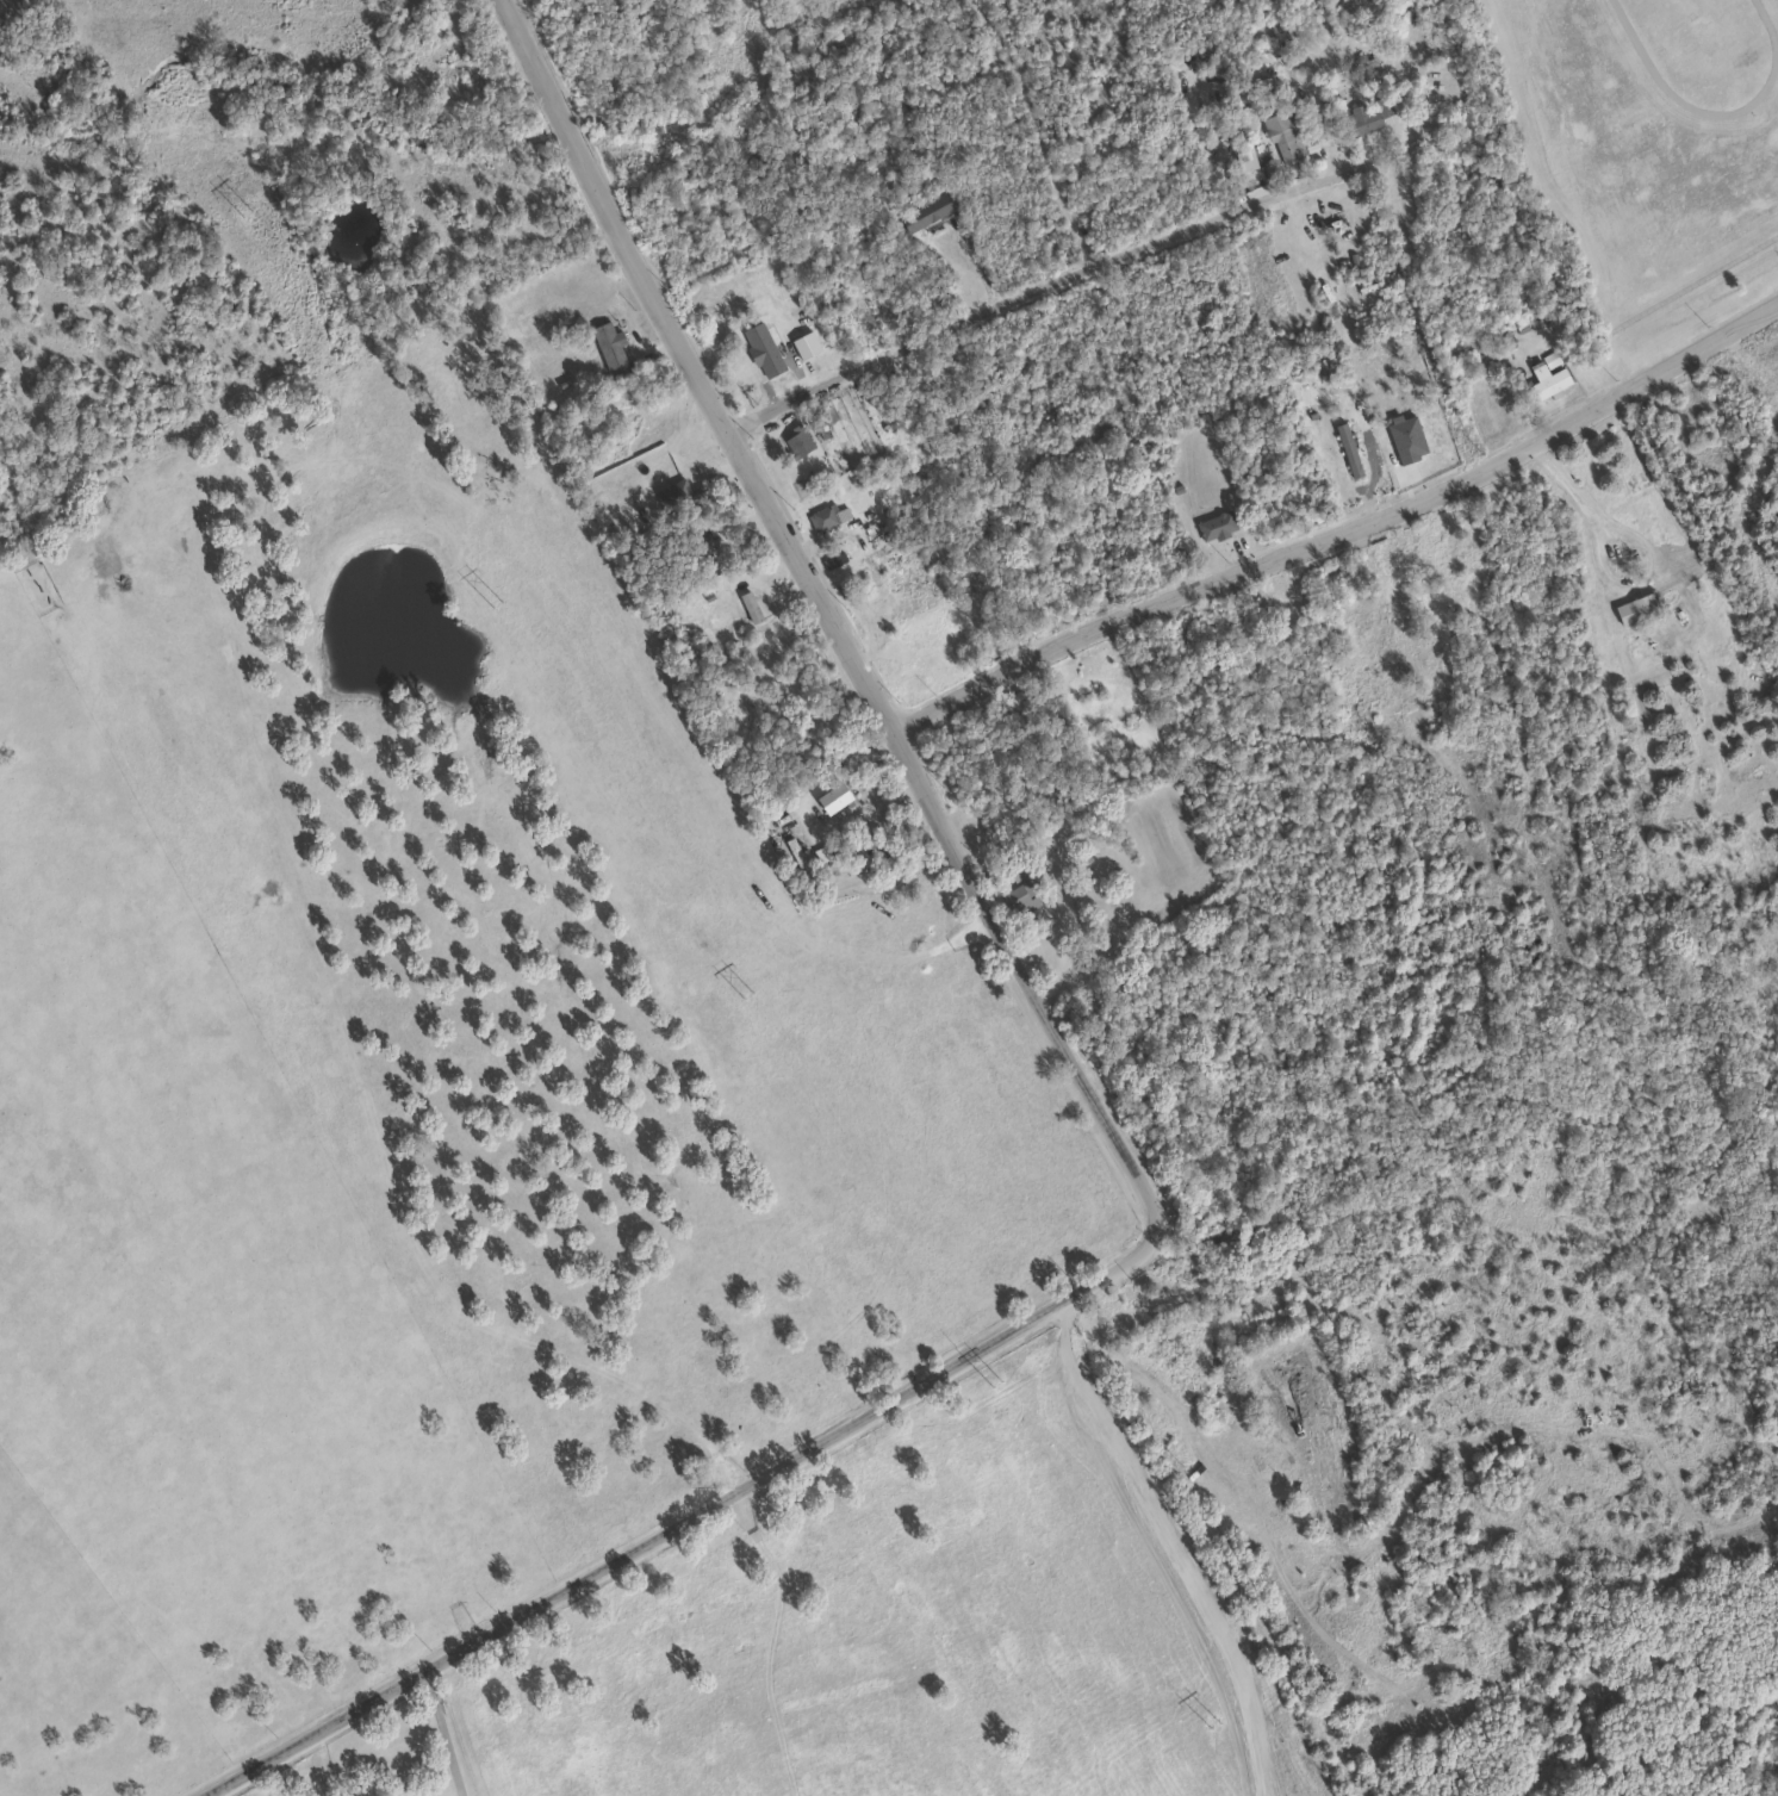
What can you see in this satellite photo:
building: (1364, 116)
building: (1282, 135)
building: (924, 211)
road: (1043, 291)
building: (607, 346)
building: (1764, 359)
building: (758, 374)
building: (1547, 383)
building: (1347, 449)
road: (1585, 509)
building: (826, 515)
building: (1216, 526)
road: (1343, 535)
building: (748, 605)
building: (1635, 608)
building: (1369, 679)
road: (869, 688)
building: (1417, 716)
building: (831, 797)
building: (829, 851)
building: (1017, 866)
building: (1019, 899)
road: (1173, 1559)
road: (623, 1560)
road: (450, 1733)

